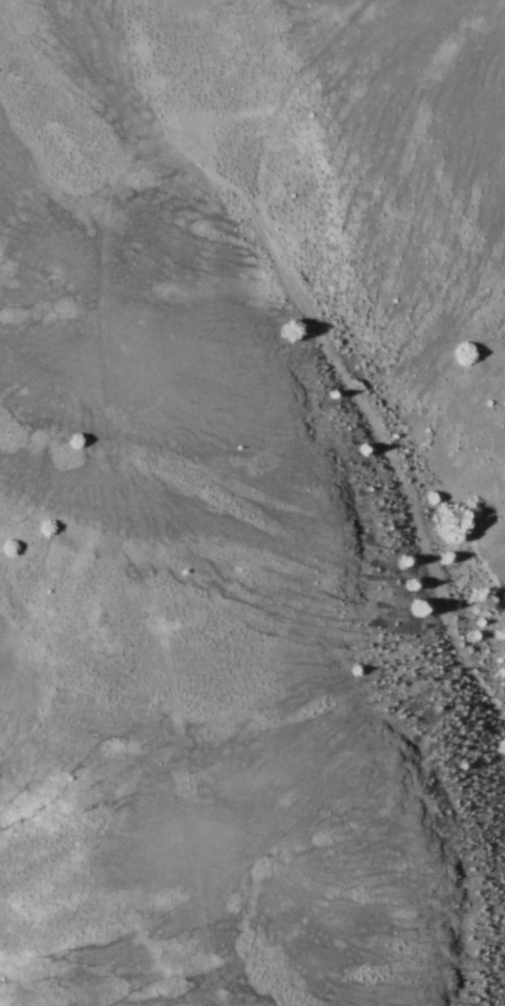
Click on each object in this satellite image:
road: (300, 359)

